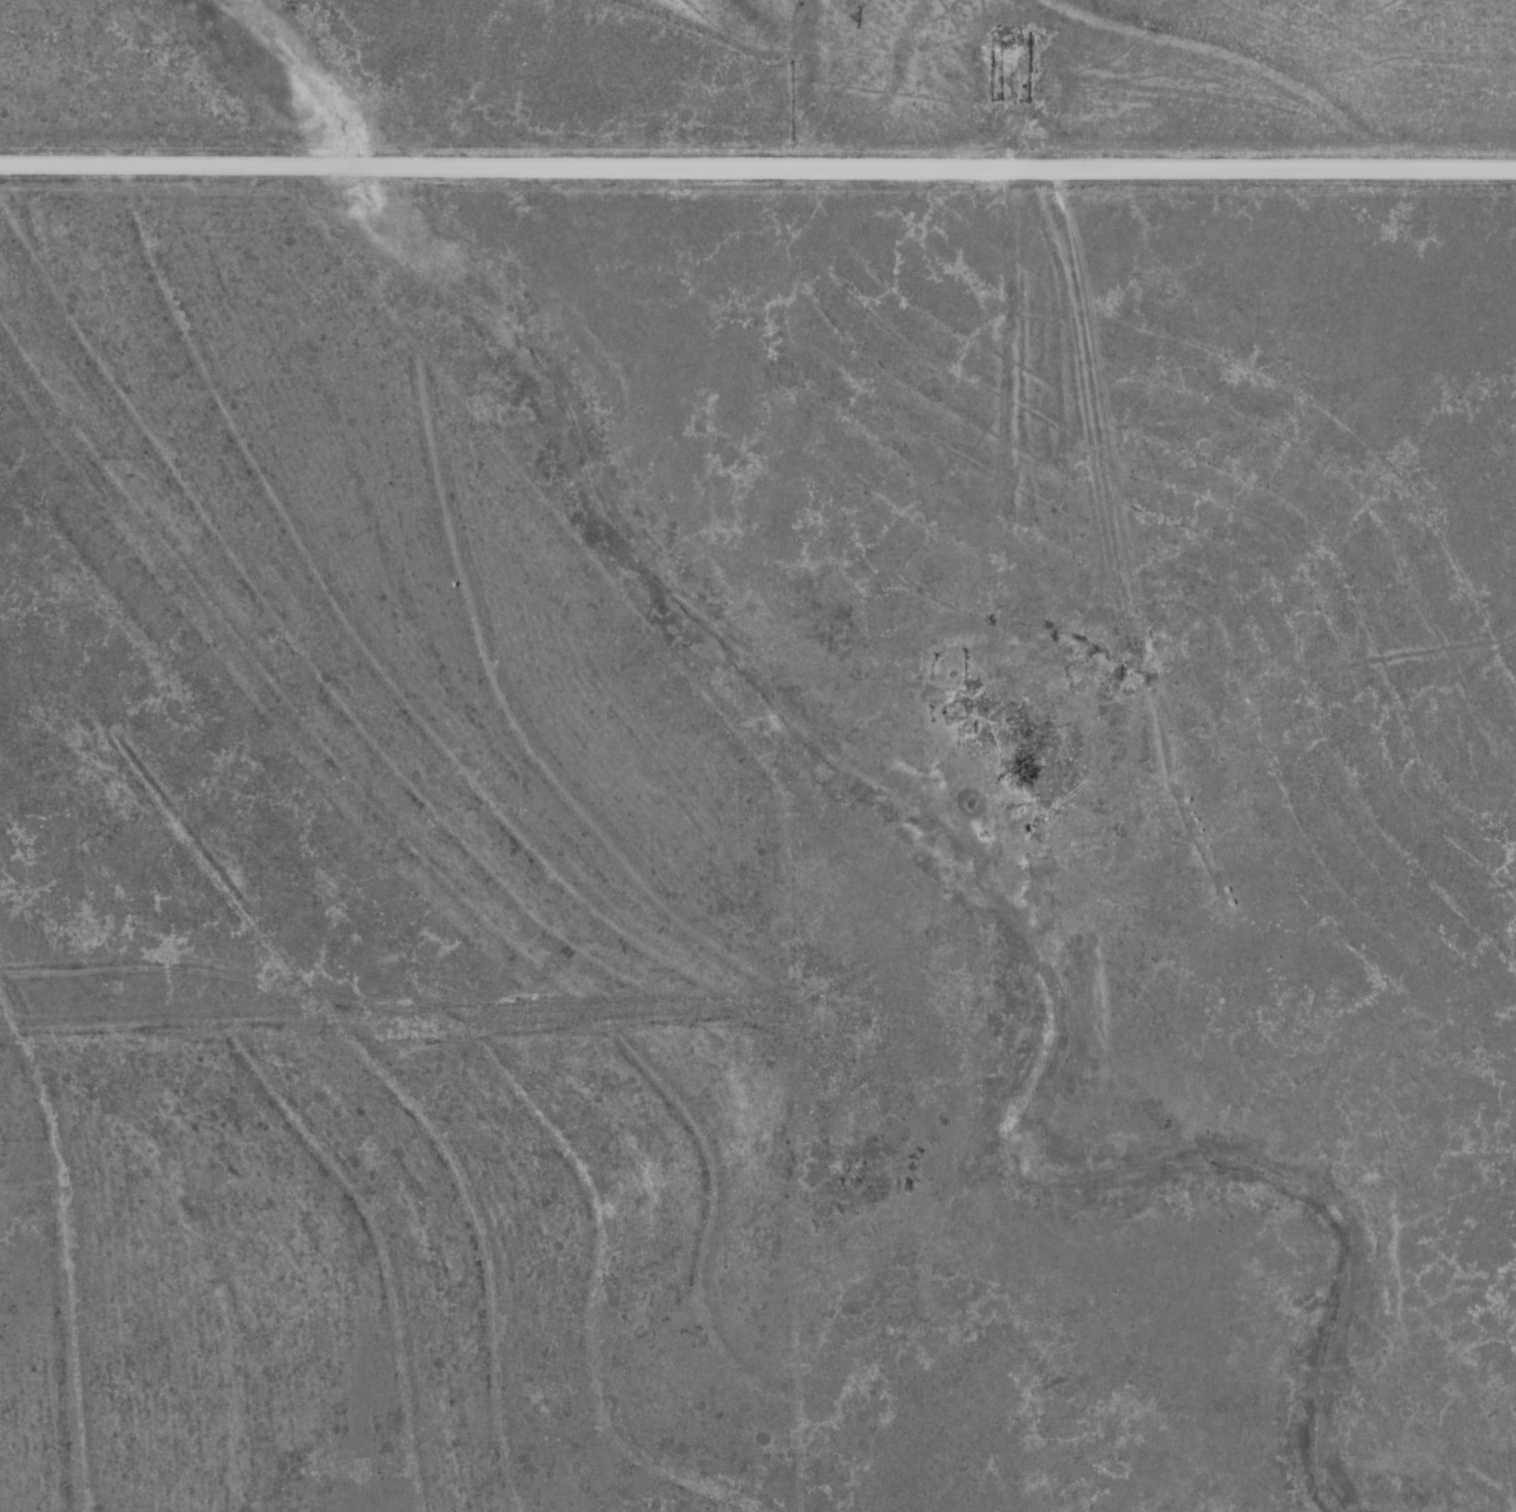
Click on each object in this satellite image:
road: (758, 189)
road: (1020, 442)

